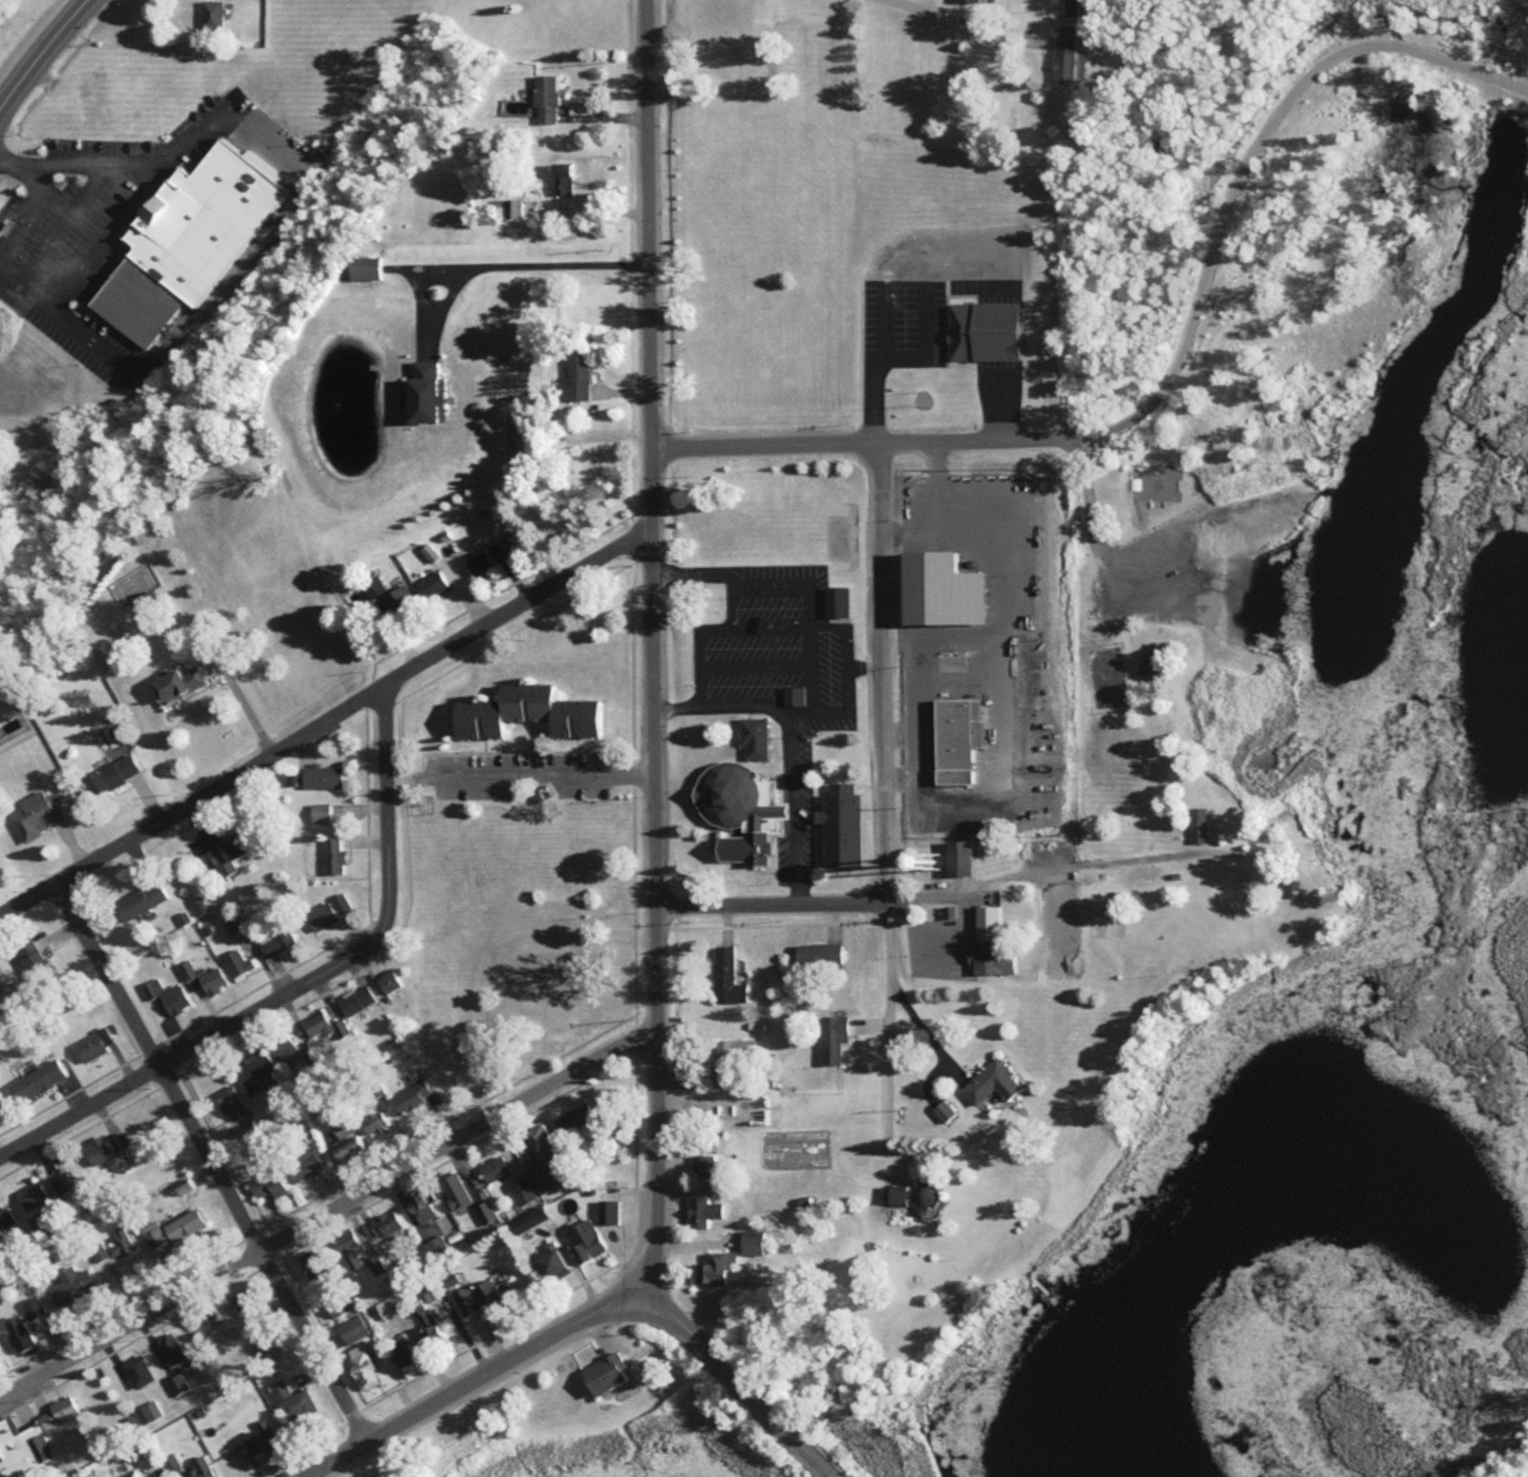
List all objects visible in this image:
building: (967, 0)
building: (211, 13)
road: (40, 52)
building: (1064, 52)
building: (545, 98)
building: (92, 107)
road: (77, 154)
building: (561, 178)
road: (24, 201)
building: (513, 208)
building: (190, 232)
road: (520, 255)
building: (371, 258)
building: (364, 267)
road: (21, 278)
road: (429, 294)
road: (191, 314)
building: (982, 331)
road: (1179, 356)
building: (576, 375)
building: (431, 382)
park: (836, 535)
building: (504, 546)
building: (478, 563)
building: (431, 584)
building: (385, 596)
building: (943, 596)
road: (523, 600)
building: (835, 603)
road: (657, 641)
building: (1150, 661)
road: (881, 666)
park: (1105, 678)
building: (170, 684)
building: (525, 712)
building: (752, 737)
building: (955, 737)
road: (545, 771)
building: (109, 774)
building: (320, 775)
road: (194, 796)
building: (738, 810)
building: (318, 811)
building: (35, 814)
building: (839, 824)
building: (1198, 824)
building: (226, 853)
building: (331, 855)
building: (957, 856)
park: (1184, 863)
building: (1246, 889)
road: (841, 897)
building: (139, 900)
building: (339, 901)
building: (318, 915)
building: (986, 922)
building: (273, 940)
building: (816, 955)
building: (979, 957)
building: (235, 962)
building: (724, 975)
road: (304, 979)
building: (387, 979)
building: (210, 980)
building: (165, 997)
building: (355, 999)
road: (881, 1008)
building: (314, 1023)
building: (830, 1037)
building: (92, 1043)
building: (281, 1047)
building: (728, 1058)
building: (255, 1068)
building: (34, 1080)
building: (989, 1082)
building: (409, 1095)
building: (0, 1102)
building: (228, 1104)
building: (574, 1118)
building: (372, 1121)
building: (344, 1140)
building: (541, 1141)
road: (214, 1155)
building: (104, 1158)
building: (702, 1164)
building: (494, 1168)
building: (299, 1169)
building: (540, 1176)
building: (266, 1184)
building: (181, 1187)
building: (44, 1189)
building: (452, 1189)
building: (522, 1190)
building: (909, 1193)
building: (419, 1205)
road: (328, 1206)
building: (606, 1210)
building: (703, 1210)
building: (485, 1211)
building: (6, 1219)
building: (388, 1222)
building: (170, 1229)
building: (584, 1239)
building: (751, 1241)
building: (111, 1245)
building: (346, 1247)
building: (312, 1264)
building: (550, 1264)
building: (712, 1267)
building: (70, 1284)
building: (430, 1288)
building: (482, 1292)
building: (231, 1301)
building: (388, 1305)
building: (211, 1321)
building: (23, 1324)
building: (428, 1326)
building: (351, 1328)
building: (267, 1345)
building: (171, 1350)
building: (402, 1351)
building: (361, 1366)
building: (136, 1370)
building: (604, 1372)
road: (473, 1378)
road: (747, 1380)
building: (177, 1383)
building: (293, 1400)
building: (57, 1410)
building: (147, 1411)
building: (262, 1438)
building: (23, 1448)
building: (171, 1462)
building: (198, 1467)
building: (140, 1475)

